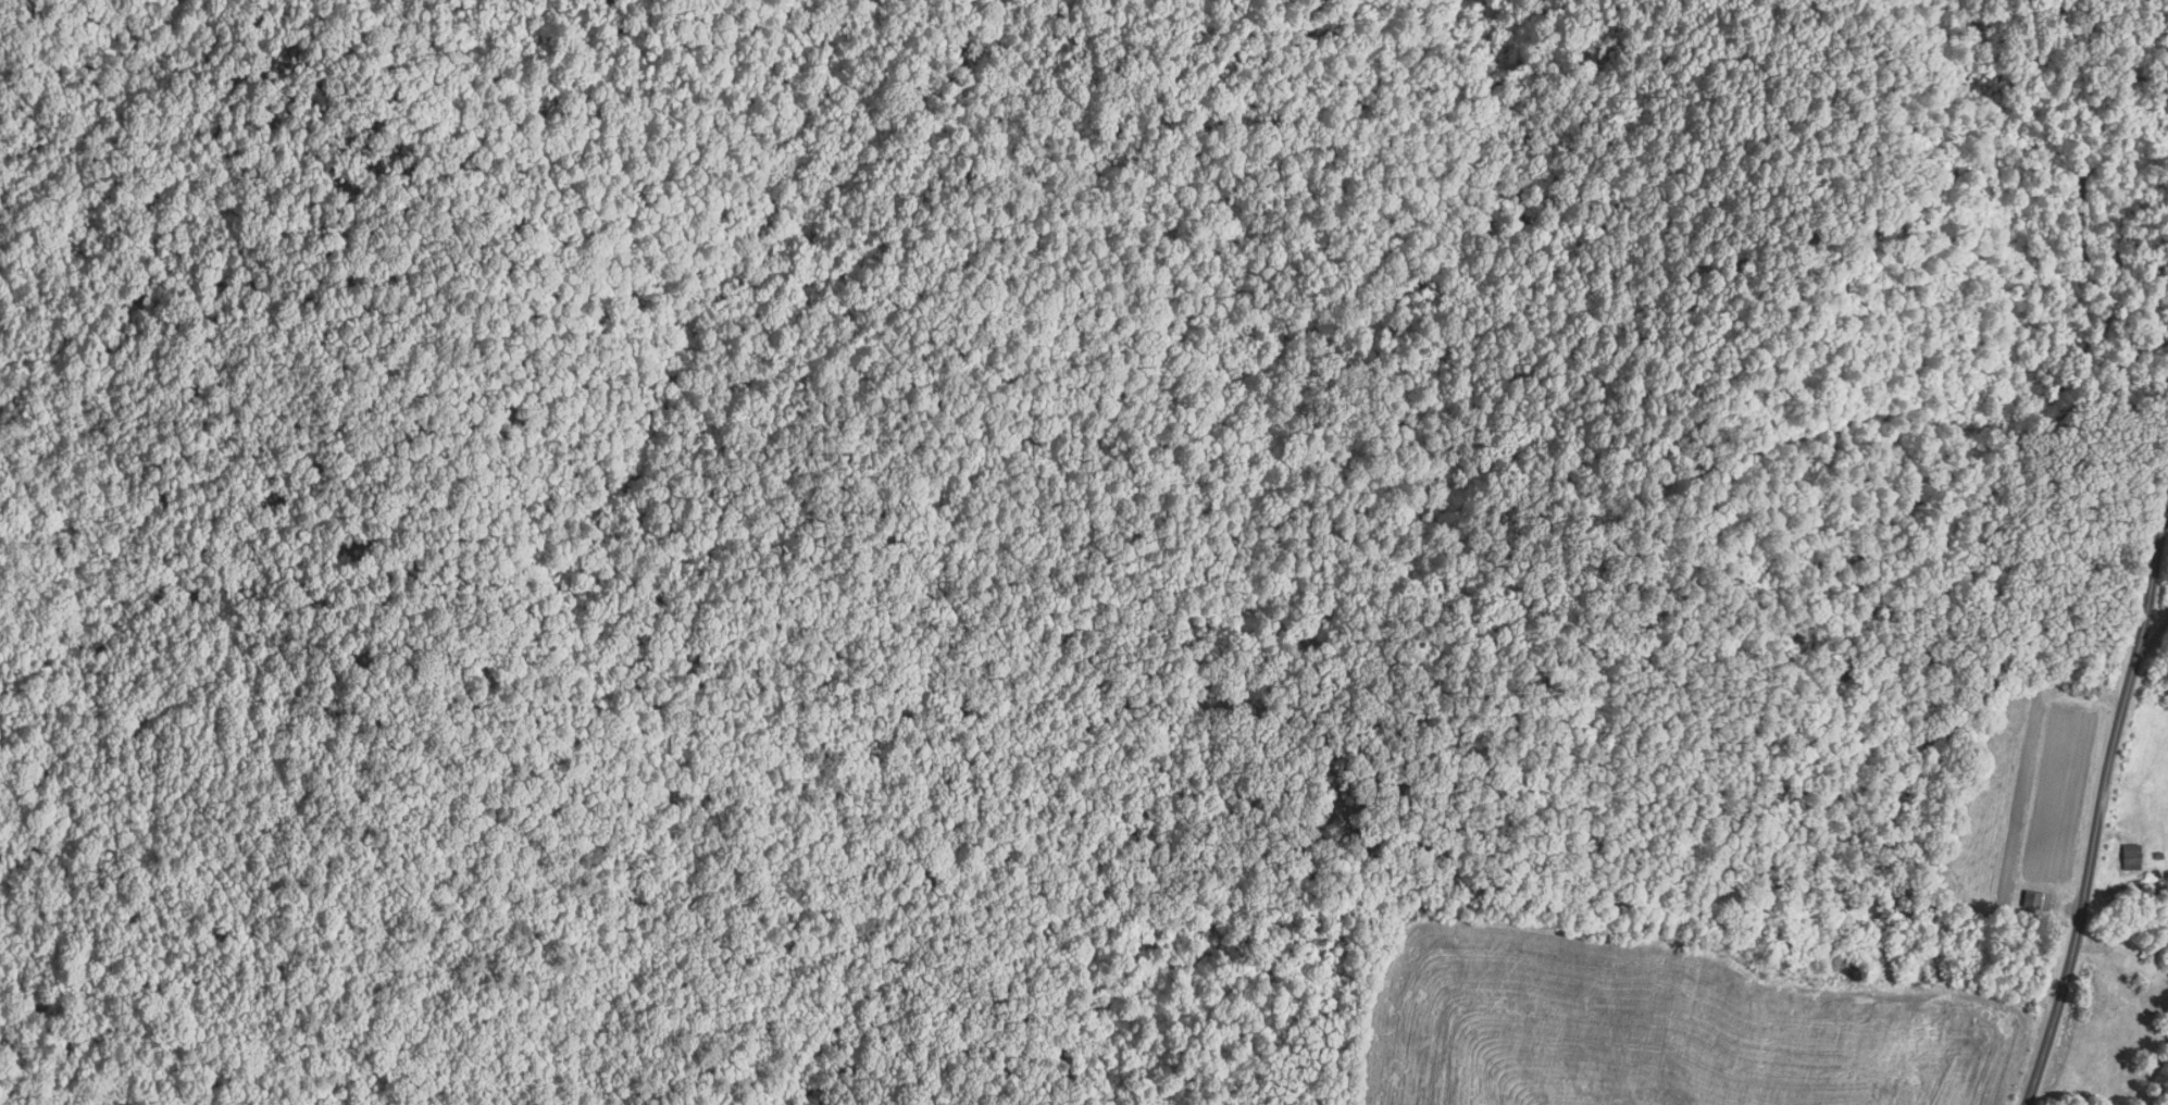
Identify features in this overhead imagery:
road: (2106, 825)
building: (2127, 855)
building: (2034, 901)

